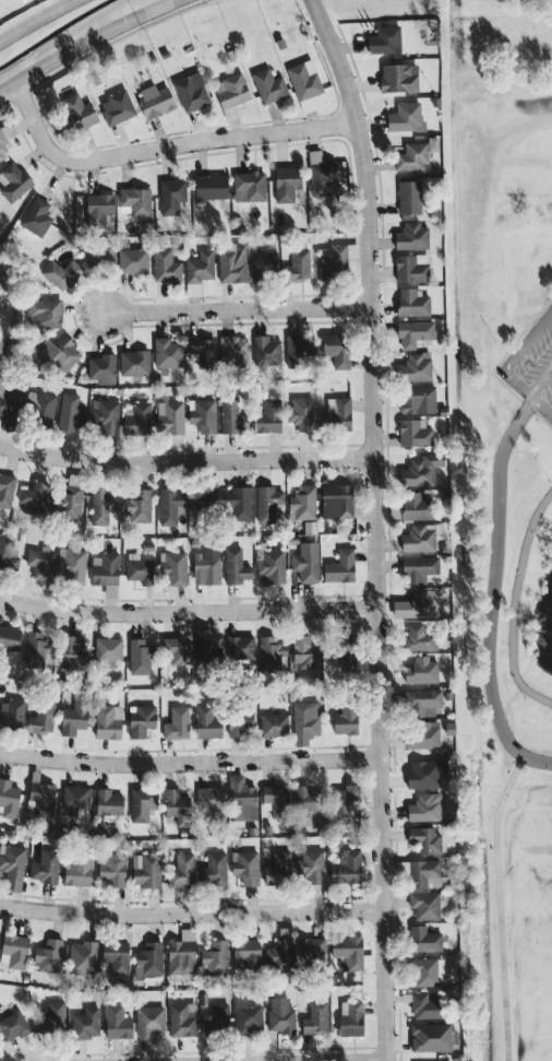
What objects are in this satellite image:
road: (35, 20)
building: (385, 39)
road: (86, 40)
road: (99, 46)
building: (398, 76)
building: (304, 80)
building: (269, 85)
building: (191, 91)
building: (155, 99)
building: (117, 107)
building: (80, 111)
building: (406, 117)
building: (5, 138)
road: (160, 146)
building: (416, 154)
building: (322, 175)
building: (13, 181)
building: (286, 182)
building: (249, 186)
building: (211, 187)
building: (171, 196)
building: (409, 197)
building: (136, 200)
building: (36, 216)
building: (411, 236)
building: (100, 257)
building: (133, 260)
building: (336, 260)
building: (232, 262)
building: (299, 263)
building: (166, 266)
building: (264, 266)
building: (201, 267)
building: (411, 268)
building: (61, 273)
building: (412, 303)
road: (235, 311)
building: (45, 313)
building: (413, 332)
building: (334, 343)
building: (298, 349)
building: (265, 350)
building: (203, 351)
building: (233, 351)
building: (53, 353)
building: (167, 354)
building: (134, 362)
road: (521, 365)
parking lot: (530, 365)
building: (416, 367)
building: (101, 368)
road: (540, 382)
building: (417, 399)
building: (10, 401)
road: (541, 406)
building: (41, 408)
building: (70, 412)
building: (301, 413)
building: (203, 414)
building: (230, 414)
building: (105, 416)
building: (268, 416)
building: (170, 417)
building: (137, 418)
building: (335, 418)
building: (415, 433)
road: (185, 462)
building: (420, 470)
building: (7, 490)
building: (33, 497)
building: (203, 499)
building: (336, 500)
building: (71, 502)
building: (240, 503)
building: (267, 503)
building: (302, 503)
building: (103, 505)
building: (137, 506)
building: (170, 506)
building: (416, 506)
park: (508, 508)
road: (375, 526)
building: (420, 537)
building: (4, 552)
building: (307, 562)
building: (40, 564)
building: (272, 564)
building: (71, 565)
building: (173, 566)
building: (206, 566)
building: (235, 566)
building: (339, 566)
building: (420, 567)
building: (105, 568)
building: (140, 568)
road: (493, 577)
road: (512, 602)
building: (419, 603)
road: (188, 611)
building: (420, 636)
building: (9, 637)
building: (340, 645)
building: (240, 646)
building: (206, 648)
building: (108, 649)
building: (177, 649)
building: (36, 650)
building: (73, 651)
building: (304, 652)
building: (140, 657)
building: (422, 670)
building: (423, 702)
building: (11, 712)
building: (41, 718)
building: (74, 718)
building: (305, 718)
building: (141, 720)
building: (239, 720)
building: (346, 720)
building: (108, 721)
building: (206, 722)
building: (177, 723)
building: (274, 724)
building: (422, 734)
road: (536, 758)
road: (190, 761)
building: (424, 773)
building: (9, 798)
building: (209, 798)
building: (39, 799)
building: (241, 799)
building: (276, 799)
building: (307, 799)
building: (77, 802)
building: (108, 802)
building: (142, 803)
building: (346, 804)
building: (177, 805)
building: (425, 807)
building: (424, 838)
building: (13, 867)
building: (46, 867)
building: (245, 867)
building: (313, 867)
building: (278, 868)
building: (347, 868)
building: (112, 869)
building: (214, 869)
building: (146, 870)
building: (79, 871)
building: (182, 871)
building: (425, 873)
building: (425, 905)
road: (497, 905)
road: (191, 911)
building: (424, 939)
building: (311, 946)
building: (15, 950)
building: (349, 951)
building: (247, 953)
building: (116, 954)
building: (279, 955)
building: (48, 956)
building: (181, 956)
building: (82, 957)
building: (215, 957)
building: (148, 959)
building: (427, 970)
building: (424, 1006)
building: (280, 1015)
building: (247, 1016)
building: (53, 1017)
building: (351, 1017)
building: (315, 1018)
building: (182, 1019)
building: (217, 1019)
building: (149, 1021)
building: (117, 1022)
building: (86, 1023)
building: (13, 1025)
building: (432, 1036)
building: (0, 1060)

